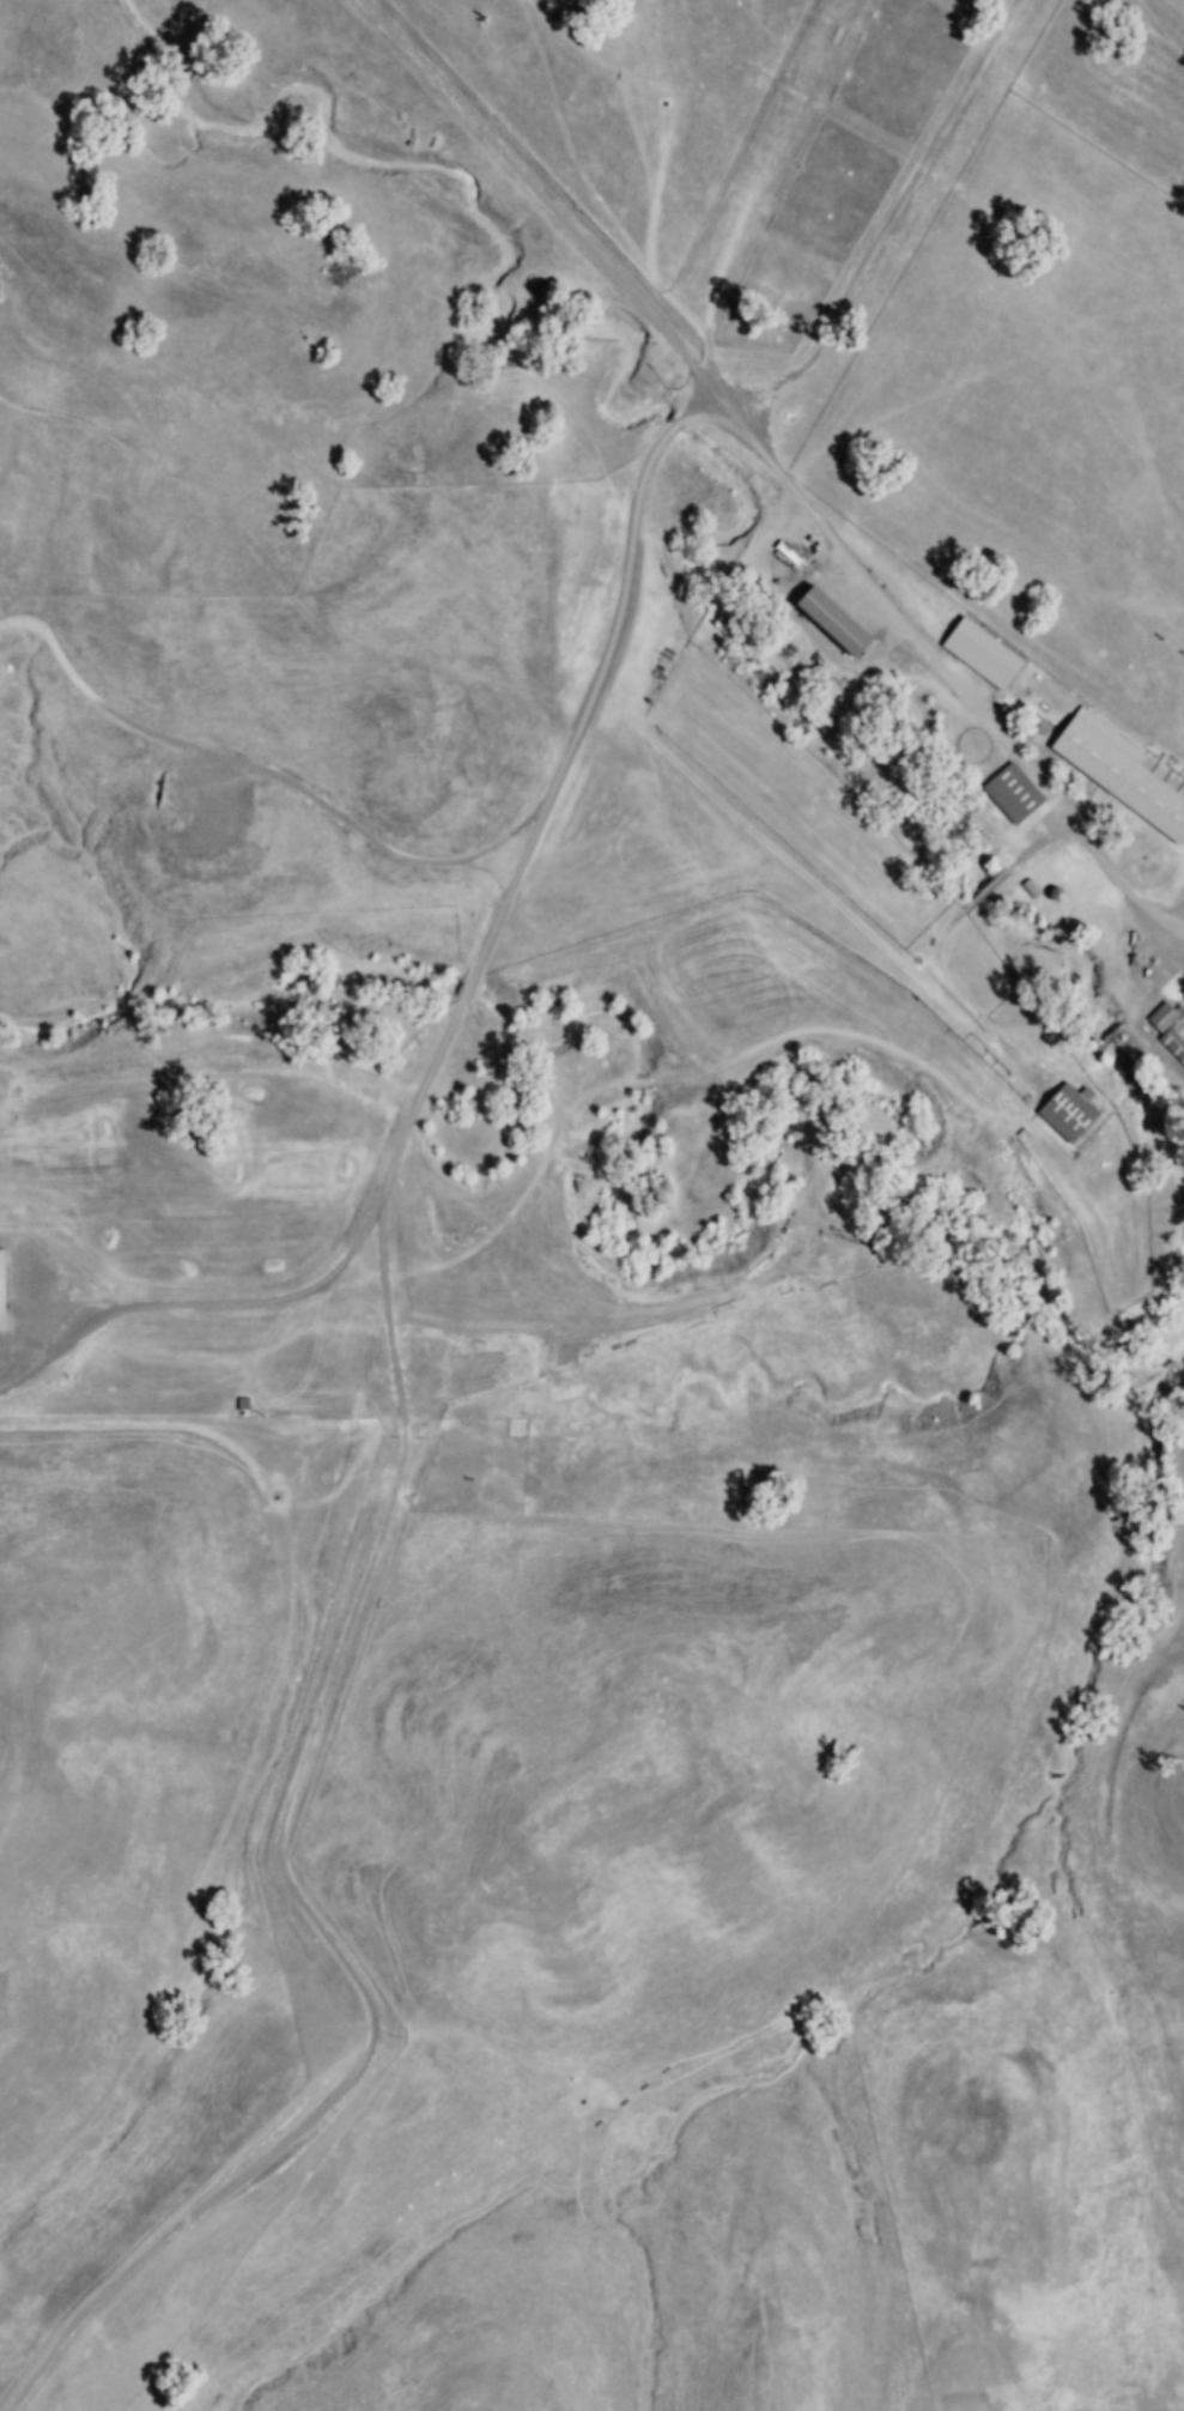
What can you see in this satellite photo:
building: (824, 622)
building: (977, 653)
road: (980, 709)
building: (1116, 771)
building: (1009, 794)
building: (1167, 1029)
building: (1074, 1113)
building: (2, 1288)
road: (475, 1308)
road: (145, 2255)

